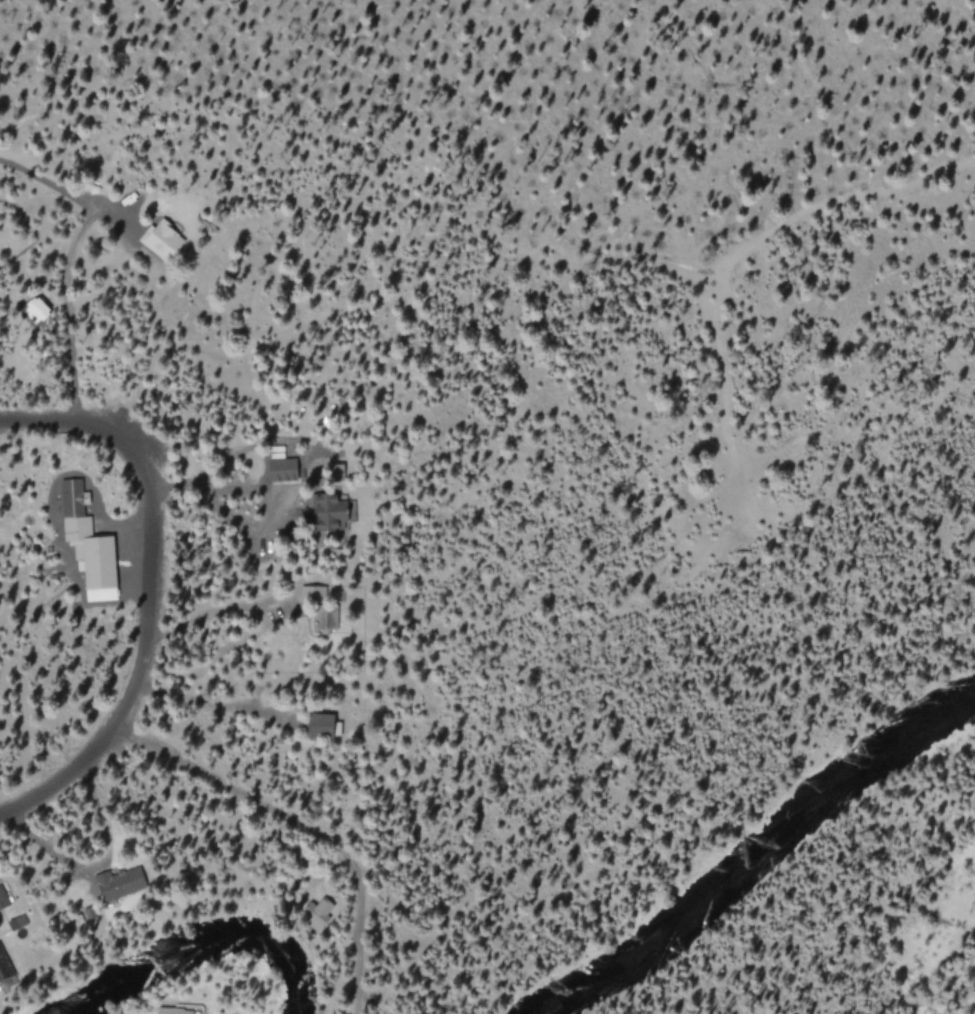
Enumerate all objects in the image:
building: (163, 240)
building: (37, 310)
building: (284, 470)
building: (333, 513)
building: (89, 543)
road: (146, 594)
building: (313, 594)
building: (326, 617)
building: (323, 725)
river: (762, 843)
building: (121, 882)
building: (319, 913)
building: (17, 921)
river: (190, 955)
building: (1, 973)

